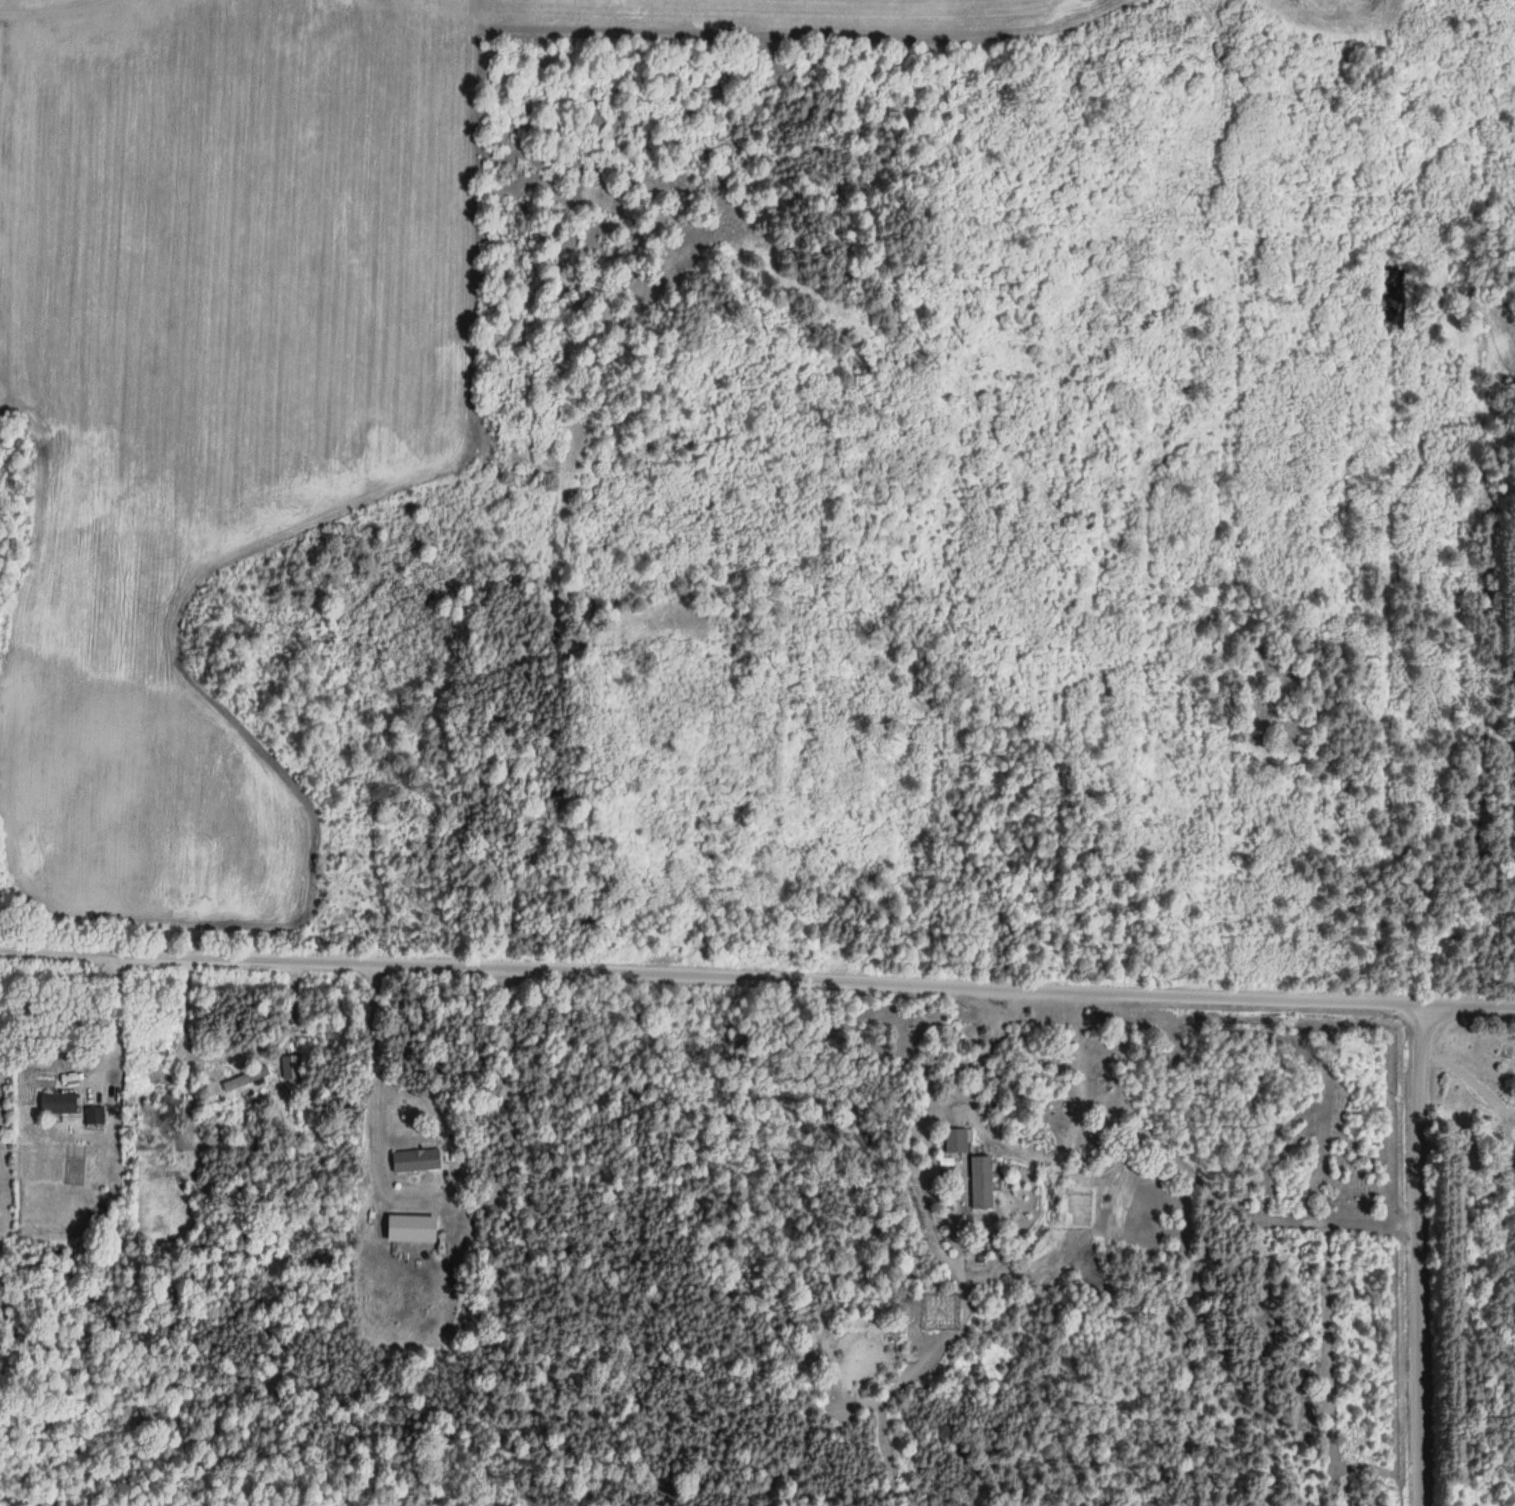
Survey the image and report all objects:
road: (757, 962)
building: (283, 1096)
building: (55, 1101)
building: (92, 1113)
building: (413, 1159)
building: (979, 1177)
road: (1404, 1245)

